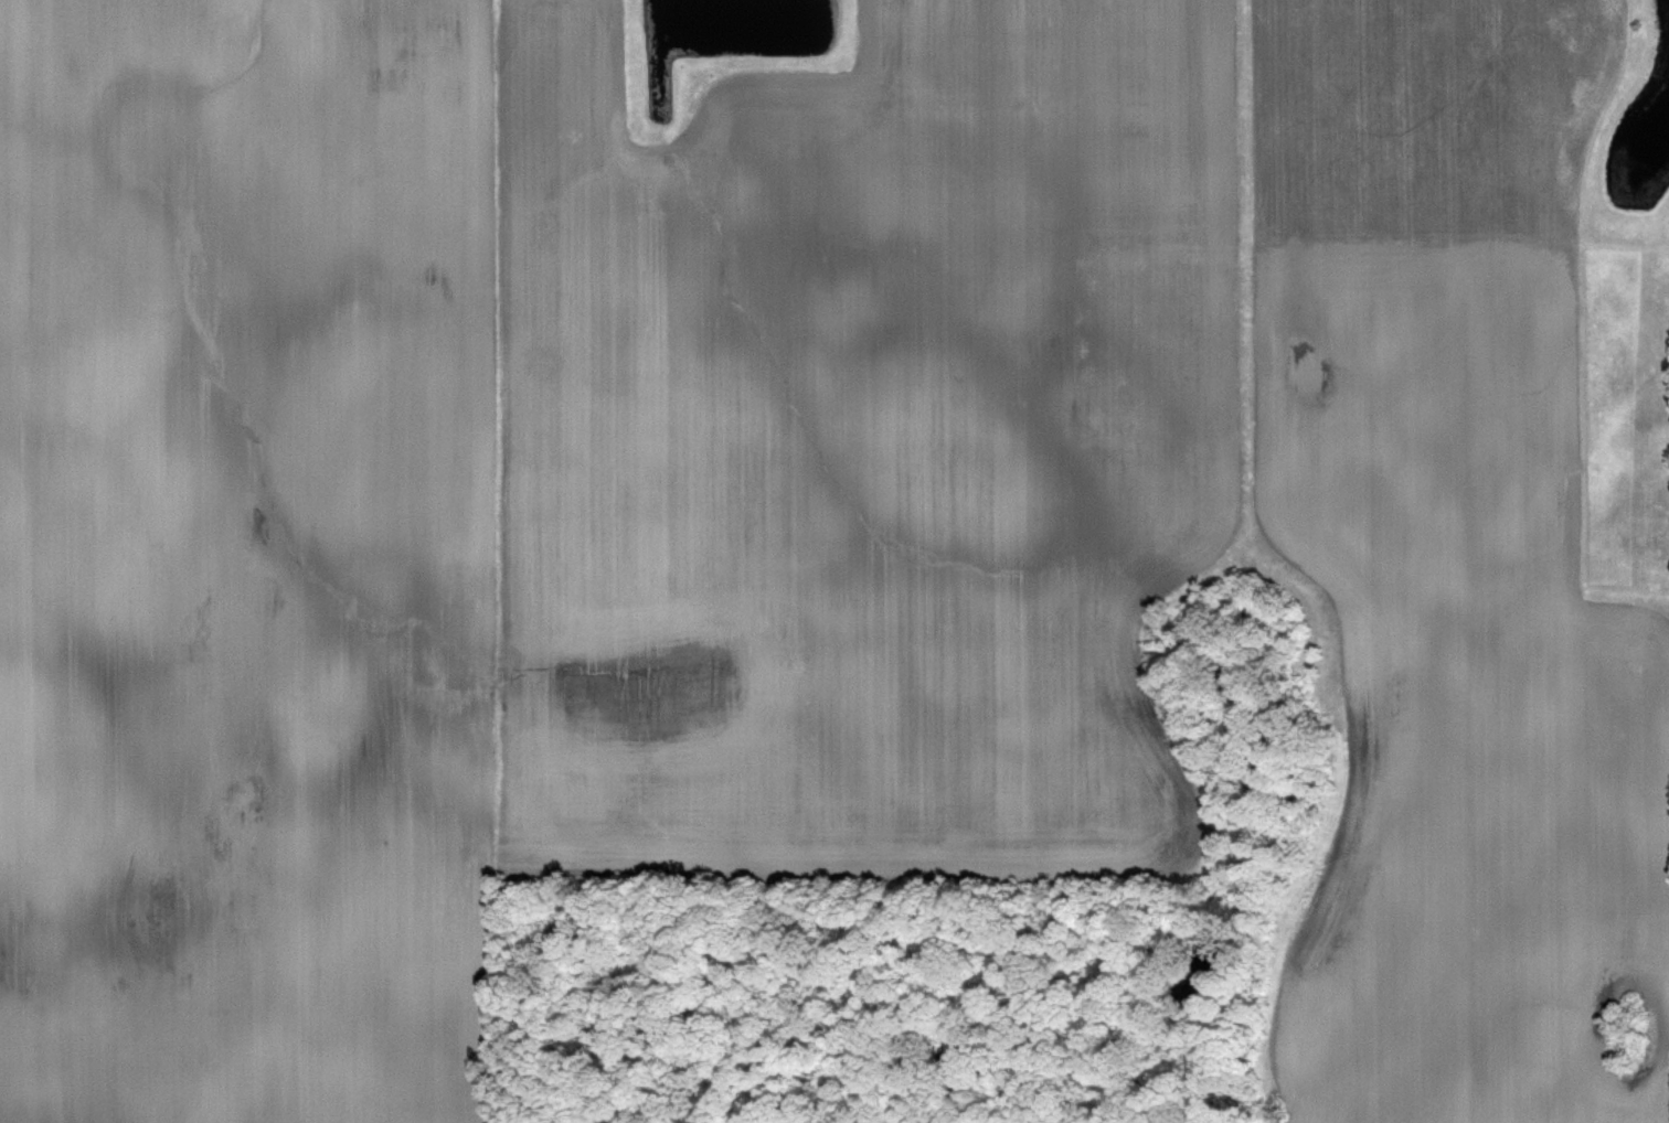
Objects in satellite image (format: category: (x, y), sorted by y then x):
crop: (245, 563)

